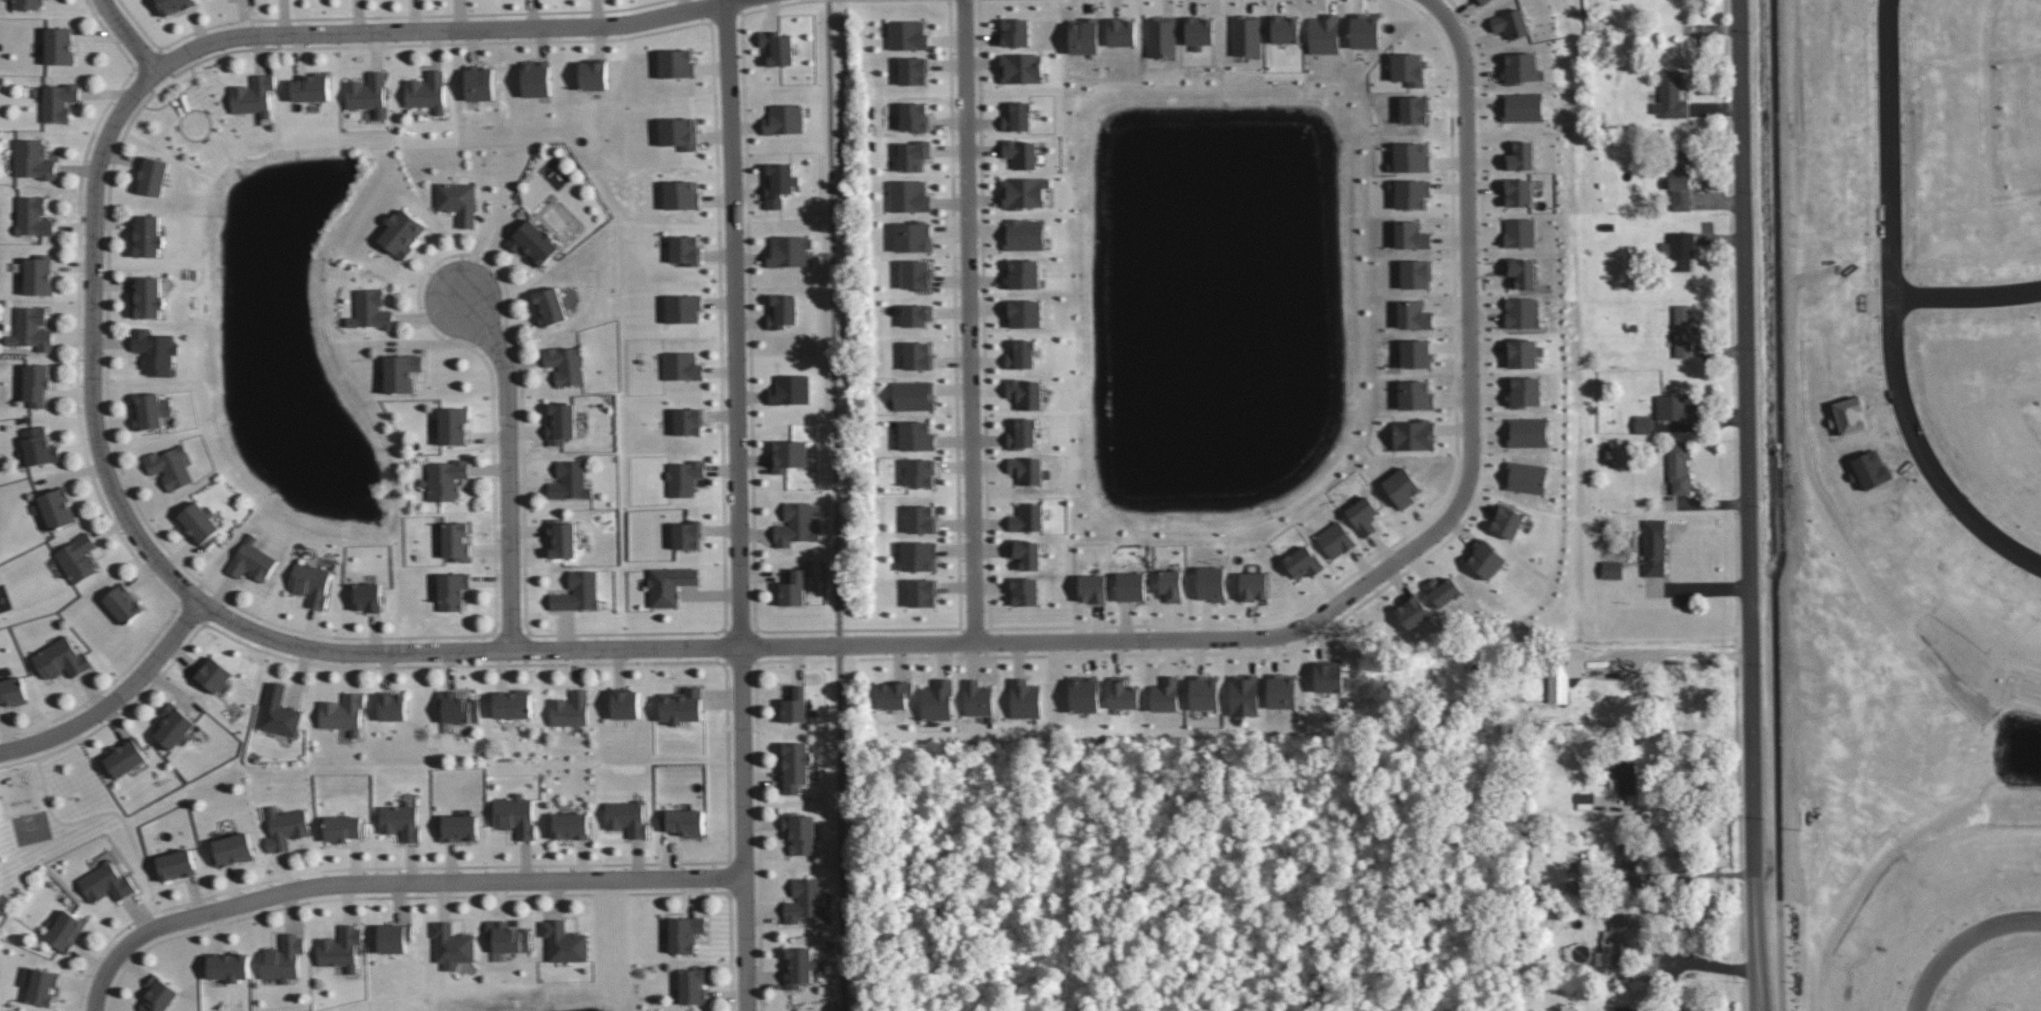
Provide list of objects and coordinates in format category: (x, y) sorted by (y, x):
building: (1483, 1)
building: (27, 4)
building: (174, 5)
road: (1436, 5)
building: (1511, 23)
road: (594, 25)
building: (1285, 28)
building: (1365, 30)
building: (1121, 31)
building: (1199, 31)
building: (1015, 32)
building: (1324, 33)
road: (128, 34)
road: (297, 35)
building: (907, 35)
building: (1084, 35)
building: (1246, 35)
building: (1162, 36)
building: (59, 45)
building: (778, 47)
building: (676, 63)
building: (1021, 67)
building: (1408, 68)
building: (1520, 68)
building: (913, 70)
building: (593, 73)
building: (536, 78)
building: (479, 82)
building: (312, 88)
building: (427, 92)
building: (367, 93)
building: (1671, 95)
building: (253, 96)
building: (59, 101)
building: (1522, 107)
building: (1415, 109)
building: (1018, 116)
building: (914, 117)
building: (784, 120)
building: (679, 132)
building: (1021, 153)
building: (914, 155)
building: (1519, 156)
building: (1410, 157)
building: (33, 159)
building: (152, 176)
building: (1680, 180)
building: (779, 184)
building: (1024, 192)
building: (1411, 192)
building: (1518, 192)
building: (682, 195)
building: (908, 195)
building: (458, 201)
building: (32, 216)
building: (1520, 232)
building: (402, 233)
building: (147, 234)
building: (1023, 234)
building: (1411, 235)
building: (913, 236)
building: (533, 242)
building: (685, 250)
building: (789, 250)
building: (1679, 250)
building: (1520, 271)
road: (735, 272)
building: (1023, 273)
building: (1416, 273)
building: (39, 274)
building: (917, 274)
building: (147, 297)
road: (1971, 299)
road: (1468, 300)
building: (549, 306)
road: (1901, 307)
building: (684, 308)
building: (370, 310)
building: (782, 311)
building: (1522, 312)
building: (1025, 313)
building: (916, 314)
building: (1414, 315)
road: (975, 321)
building: (31, 328)
building: (1683, 331)
road: (92, 339)
building: (154, 351)
building: (1523, 352)
building: (1416, 353)
building: (1022, 354)
building: (918, 355)
building: (565, 364)
building: (681, 366)
building: (401, 372)
building: (37, 383)
building: (790, 389)
building: (1524, 391)
building: (1025, 393)
building: (1416, 394)
building: (913, 395)
building: (1675, 408)
building: (151, 410)
building: (688, 421)
building: (561, 423)
building: (1643, 424)
building: (453, 425)
building: (1527, 431)
building: (1022, 433)
building: (1414, 434)
building: (916, 436)
building: (38, 446)
building: (787, 454)
road: (507, 461)
building: (171, 466)
building: (1679, 467)
building: (1026, 469)
building: (920, 472)
building: (1526, 476)
building: (684, 477)
building: (446, 478)
building: (569, 481)
road: (1747, 486)
building: (1402, 487)
road: (837, 505)
road: (1781, 506)
building: (56, 507)
building: (1363, 515)
building: (1027, 517)
building: (921, 519)
building: (1507, 521)
building: (200, 523)
building: (796, 525)
building: (687, 535)
building: (562, 538)
building: (1336, 539)
building: (456, 540)
building: (1654, 547)
building: (1026, 552)
building: (919, 555)
building: (77, 557)
building: (1485, 558)
building: (251, 560)
building: (1303, 562)
building: (1612, 569)
building: (1211, 582)
building: (310, 583)
building: (670, 584)
building: (1171, 585)
building: (1253, 585)
building: (1131, 586)
building: (793, 587)
building: (1093, 588)
building: (452, 590)
building: (1443, 590)
building: (578, 591)
building: (1025, 591)
building: (922, 592)
building: (367, 596)
building: (123, 602)
building: (1413, 612)
road: (1118, 640)
road: (1679, 649)
road: (502, 652)
building: (61, 659)
building: (1563, 673)
building: (214, 676)
building: (1329, 676)
building: (1281, 690)
building: (13, 691)
building: (1204, 692)
building: (1084, 693)
building: (1123, 693)
building: (895, 694)
building: (1165, 694)
building: (1244, 694)
building: (977, 697)
building: (1024, 699)
building: (938, 700)
road: (117, 701)
building: (624, 703)
building: (512, 704)
building: (795, 704)
building: (681, 705)
building: (392, 706)
building: (457, 707)
building: (570, 709)
building: (279, 712)
road: (740, 712)
building: (343, 713)
building: (174, 726)
building: (125, 756)
building: (795, 765)
building: (1626, 776)
building: (1585, 800)
road: (1677, 806)
road: (109, 811)
building: (515, 815)
building: (627, 817)
building: (400, 821)
building: (683, 821)
building: (570, 825)
park: (32, 826)
building: (285, 827)
building: (459, 827)
park: (21, 828)
building: (343, 828)
building: (800, 833)
building: (232, 849)
road: (1151, 851)
building: (176, 864)
building: (1628, 865)
park: (1155, 870)
road: (1703, 872)
road: (450, 881)
building: (106, 882)
building: (804, 900)
building: (65, 930)
building: (685, 933)
building: (508, 936)
building: (394, 937)
building: (1616, 940)
road: (1960, 940)
road: (132, 942)
building: (564, 942)
road: (745, 944)
building: (452, 945)
building: (340, 948)
building: (283, 958)
road: (1701, 960)
building: (227, 965)
building: (799, 967)
building: (39, 984)
building: (692, 986)
road: (99, 987)
road: (1755, 992)
building: (158, 995)
building: (1622, 1008)

